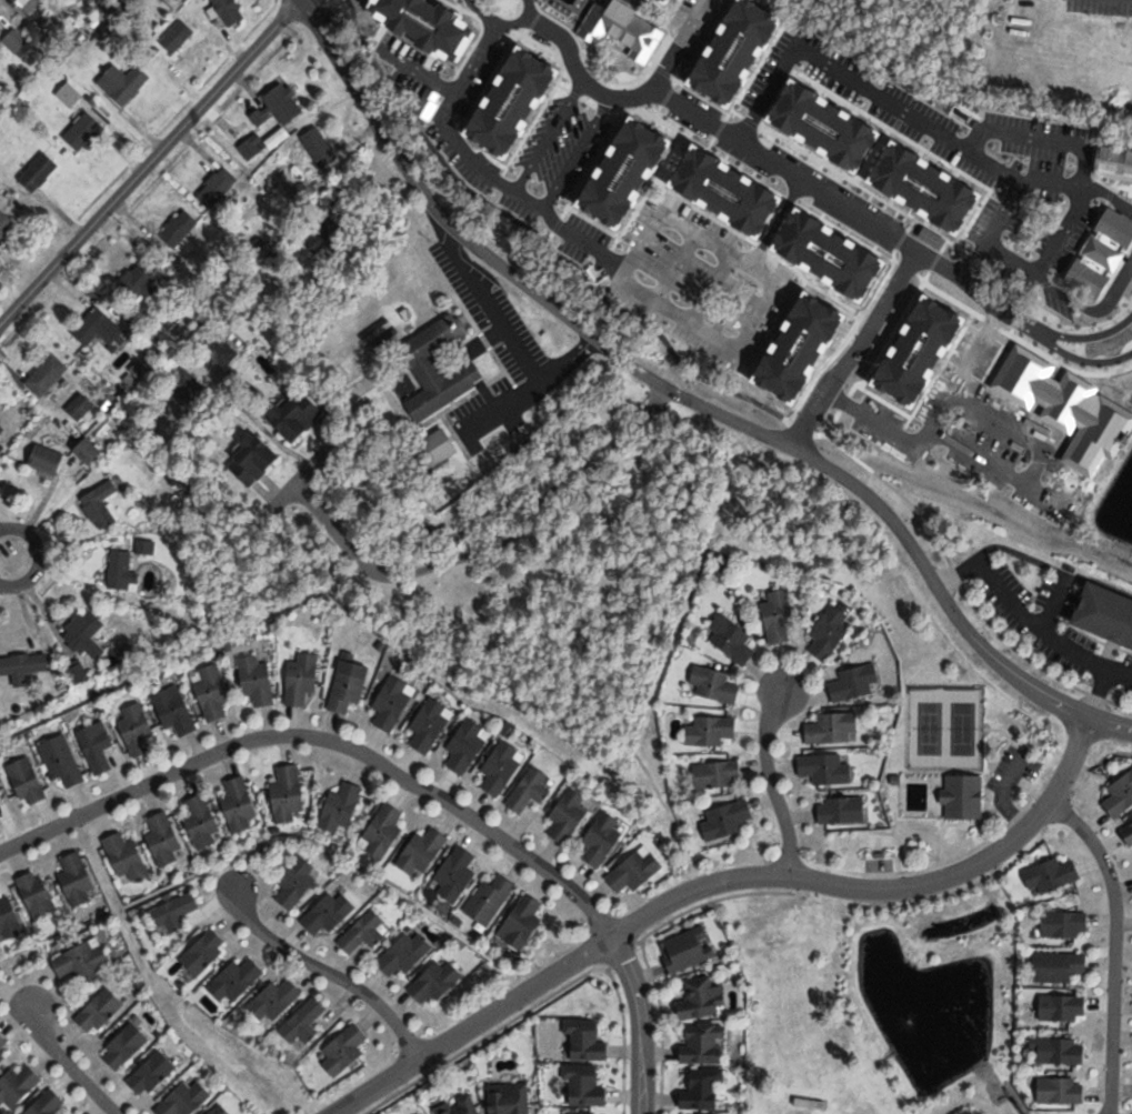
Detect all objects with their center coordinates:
building: (28, 2)
building: (509, 8)
building: (385, 9)
building: (632, 9)
building: (230, 11)
building: (705, 26)
road: (492, 27)
building: (6, 39)
building: (173, 41)
building: (550, 49)
building: (417, 50)
building: (641, 68)
building: (123, 82)
building: (807, 83)
building: (444, 93)
building: (70, 94)
building: (281, 106)
building: (765, 110)
road: (899, 111)
building: (84, 132)
building: (473, 136)
building: (279, 137)
building: (718, 140)
road: (727, 144)
building: (252, 147)
building: (320, 148)
building: (889, 148)
building: (1112, 160)
road: (149, 161)
building: (39, 171)
building: (671, 173)
road: (545, 175)
building: (507, 180)
building: (218, 187)
building: (618, 191)
building: (834, 197)
building: (982, 218)
building: (6, 224)
building: (180, 228)
building: (785, 231)
building: (331, 240)
building: (724, 264)
building: (138, 280)
building: (670, 301)
building: (891, 314)
road: (501, 322)
building: (102, 329)
building: (223, 350)
building: (829, 352)
building: (440, 368)
road: (645, 374)
building: (49, 375)
building: (187, 387)
building: (777, 387)
building: (970, 395)
building: (300, 414)
building: (2, 430)
building: (2, 449)
building: (437, 449)
building: (90, 451)
building: (257, 458)
building: (48, 460)
building: (1071, 469)
building: (1123, 478)
building: (101, 505)
road: (497, 543)
road: (1020, 554)
road: (40, 556)
building: (121, 571)
road: (1053, 601)
building: (1103, 613)
building: (780, 616)
road: (1023, 616)
building: (87, 633)
building: (831, 633)
building: (732, 640)
building: (24, 666)
building: (302, 679)
building: (257, 681)
building: (349, 683)
building: (855, 683)
building: (715, 685)
building: (212, 692)
road: (1096, 692)
building: (393, 703)
road: (1062, 705)
building: (176, 711)
road: (1110, 722)
building: (431, 725)
building: (833, 729)
building: (137, 730)
building: (711, 731)
road: (325, 740)
building: (467, 746)
building: (97, 747)
building: (62, 761)
building: (502, 769)
building: (827, 770)
building: (719, 774)
building: (28, 782)
road: (770, 783)
building: (530, 790)
building: (288, 793)
building: (1118, 793)
building: (0, 796)
building: (964, 797)
building: (240, 803)
building: (342, 806)
building: (842, 812)
building: (570, 815)
building: (725, 820)
building: (0, 821)
building: (202, 821)
building: (383, 830)
building: (1124, 833)
building: (163, 837)
building: (602, 839)
building: (422, 851)
building: (126, 856)
building: (635, 871)
building: (455, 873)
building: (1045, 875)
building: (77, 877)
building: (297, 881)
road: (720, 882)
building: (38, 894)
building: (490, 897)
building: (173, 912)
building: (330, 912)
building: (9, 919)
building: (522, 921)
building: (1059, 924)
building: (364, 931)
road: (1114, 945)
building: (689, 947)
building: (206, 951)
building: (405, 952)
building: (81, 959)
building: (1051, 967)
road: (325, 972)
building: (237, 978)
building: (435, 981)
building: (704, 996)
building: (276, 998)
building: (1056, 1008)
building: (100, 1010)
building: (304, 1021)
road: (642, 1022)
building: (587, 1038)
building: (2, 1040)
building: (705, 1043)
building: (126, 1045)
building: (344, 1048)
building: (1052, 1052)
building: (2, 1057)
road: (66, 1063)
building: (152, 1073)
building: (585, 1083)
building: (17, 1086)
building: (704, 1088)
building: (1054, 1092)
building: (186, 1098)
building: (511, 1100)
building: (47, 1103)
building: (459, 1105)
building: (221, 1111)
building: (579, 1112)

